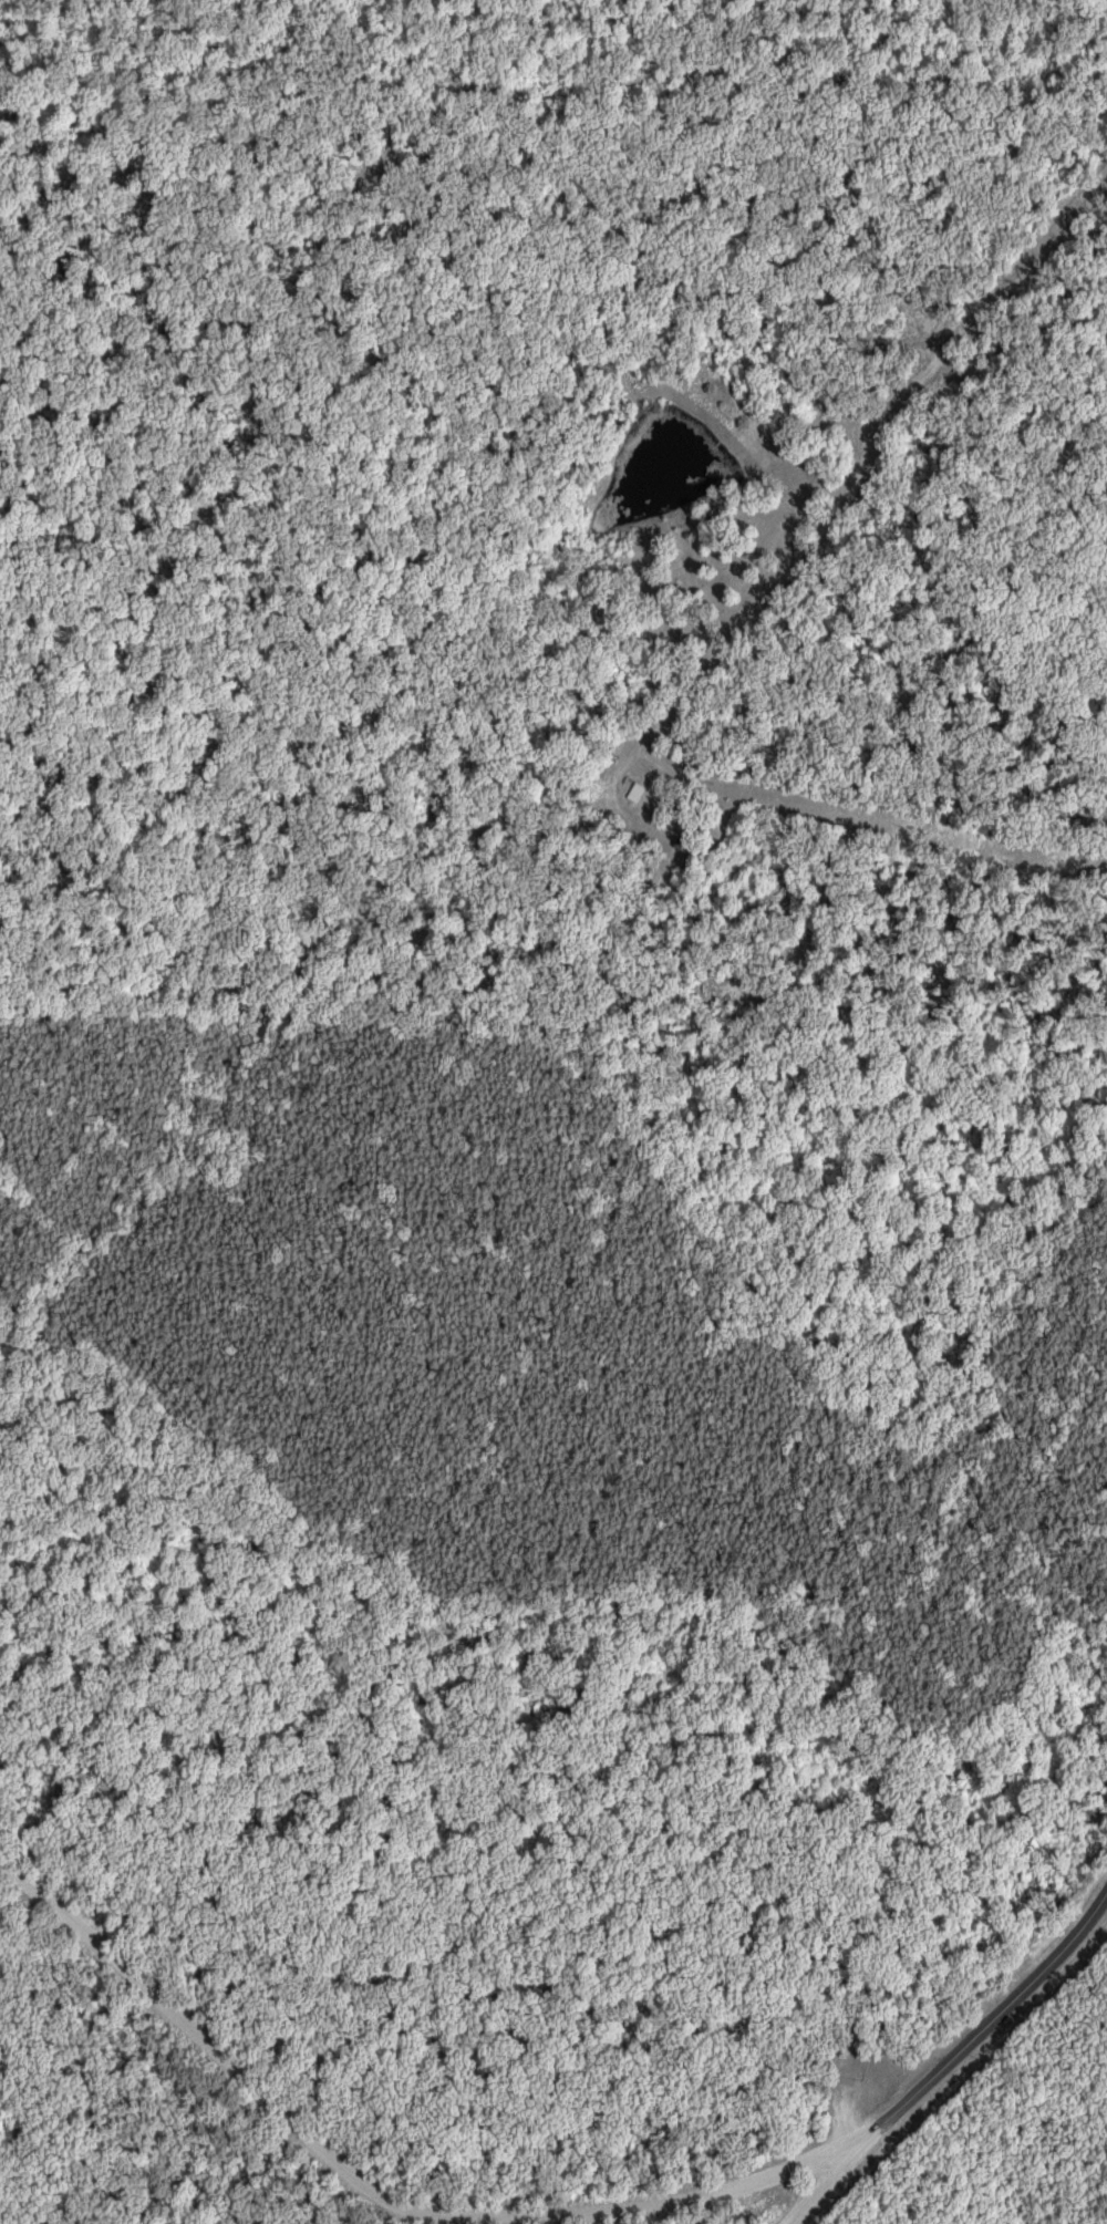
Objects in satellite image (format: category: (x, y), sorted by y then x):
park: (830, 2049)
road: (965, 2073)
road: (313, 2122)

